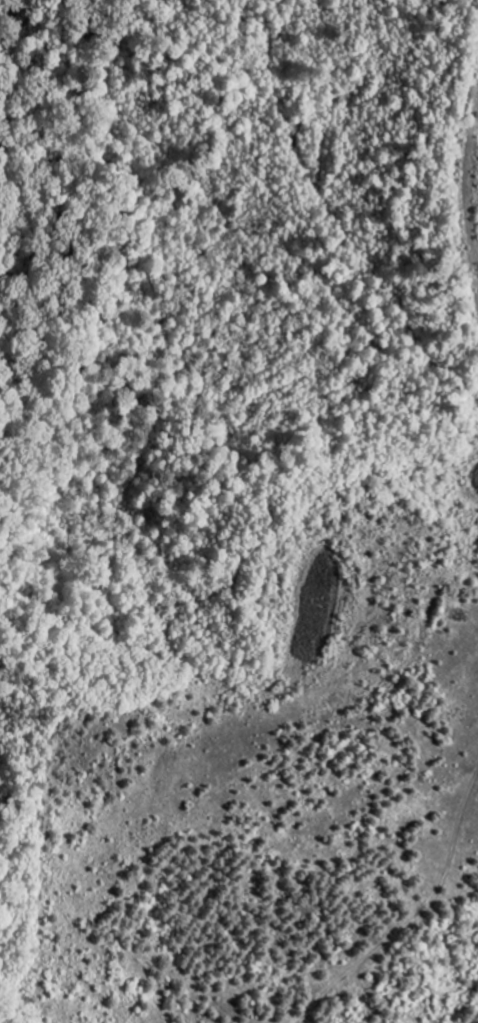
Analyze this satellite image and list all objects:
road: (288, 25)

